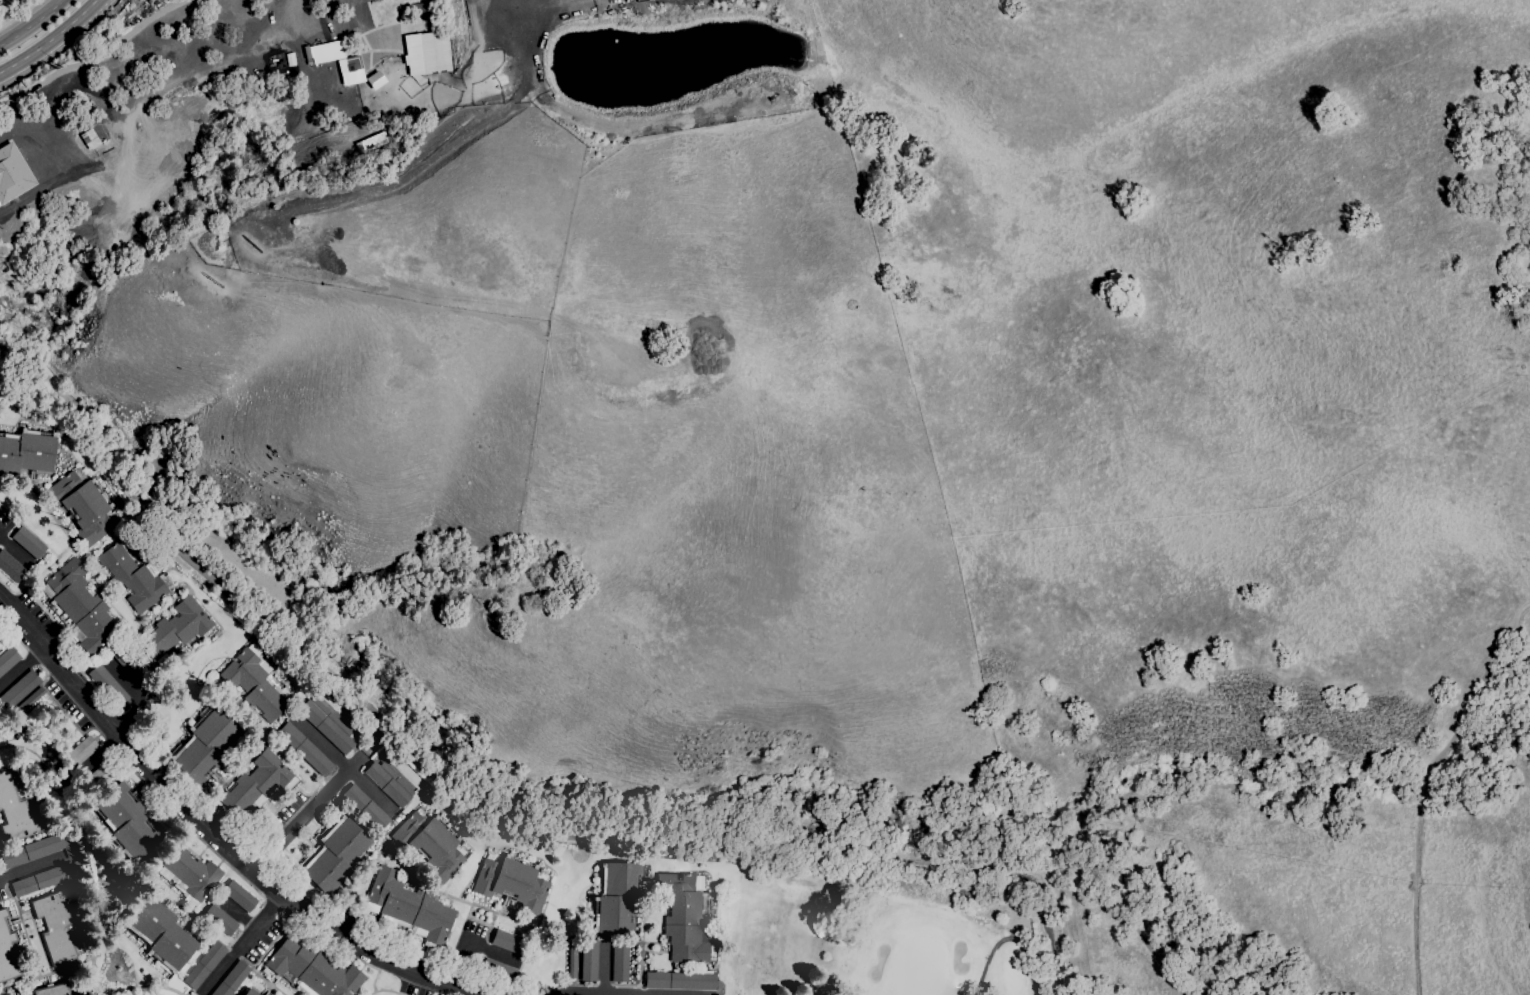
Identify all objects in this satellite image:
park: (6, 4)
road: (20, 14)
road: (30, 23)
road: (50, 38)
building: (420, 53)
road: (97, 66)
building: (18, 114)
building: (12, 172)
building: (27, 451)
building: (83, 505)
building: (28, 542)
road: (14, 550)
building: (11, 567)
building: (134, 577)
building: (80, 609)
building: (177, 630)
building: (8, 659)
road: (21, 665)
building: (131, 665)
building: (256, 682)
building: (109, 687)
building: (19, 690)
building: (28, 701)
building: (327, 725)
building: (204, 745)
building: (305, 749)
building: (80, 752)
road: (343, 765)
building: (103, 772)
road: (441, 779)
building: (389, 783)
building: (258, 784)
road: (316, 797)
building: (365, 807)
building: (16, 812)
building: (126, 822)
road: (210, 832)
building: (430, 844)
building: (37, 849)
building: (335, 854)
road: (25, 870)
building: (189, 875)
building: (42, 879)
building: (512, 882)
building: (239, 895)
building: (616, 896)
building: (409, 908)
building: (684, 917)
building: (220, 920)
building: (55, 926)
park: (895, 929)
building: (161, 935)
road: (464, 941)
building: (509, 942)
road: (243, 947)
building: (7, 949)
building: (572, 959)
building: (589, 960)
building: (620, 960)
building: (204, 965)
building: (311, 968)
road: (604, 970)
building: (498, 971)
building: (232, 979)
building: (681, 980)
building: (52, 989)
building: (250, 992)
road: (612, 994)

